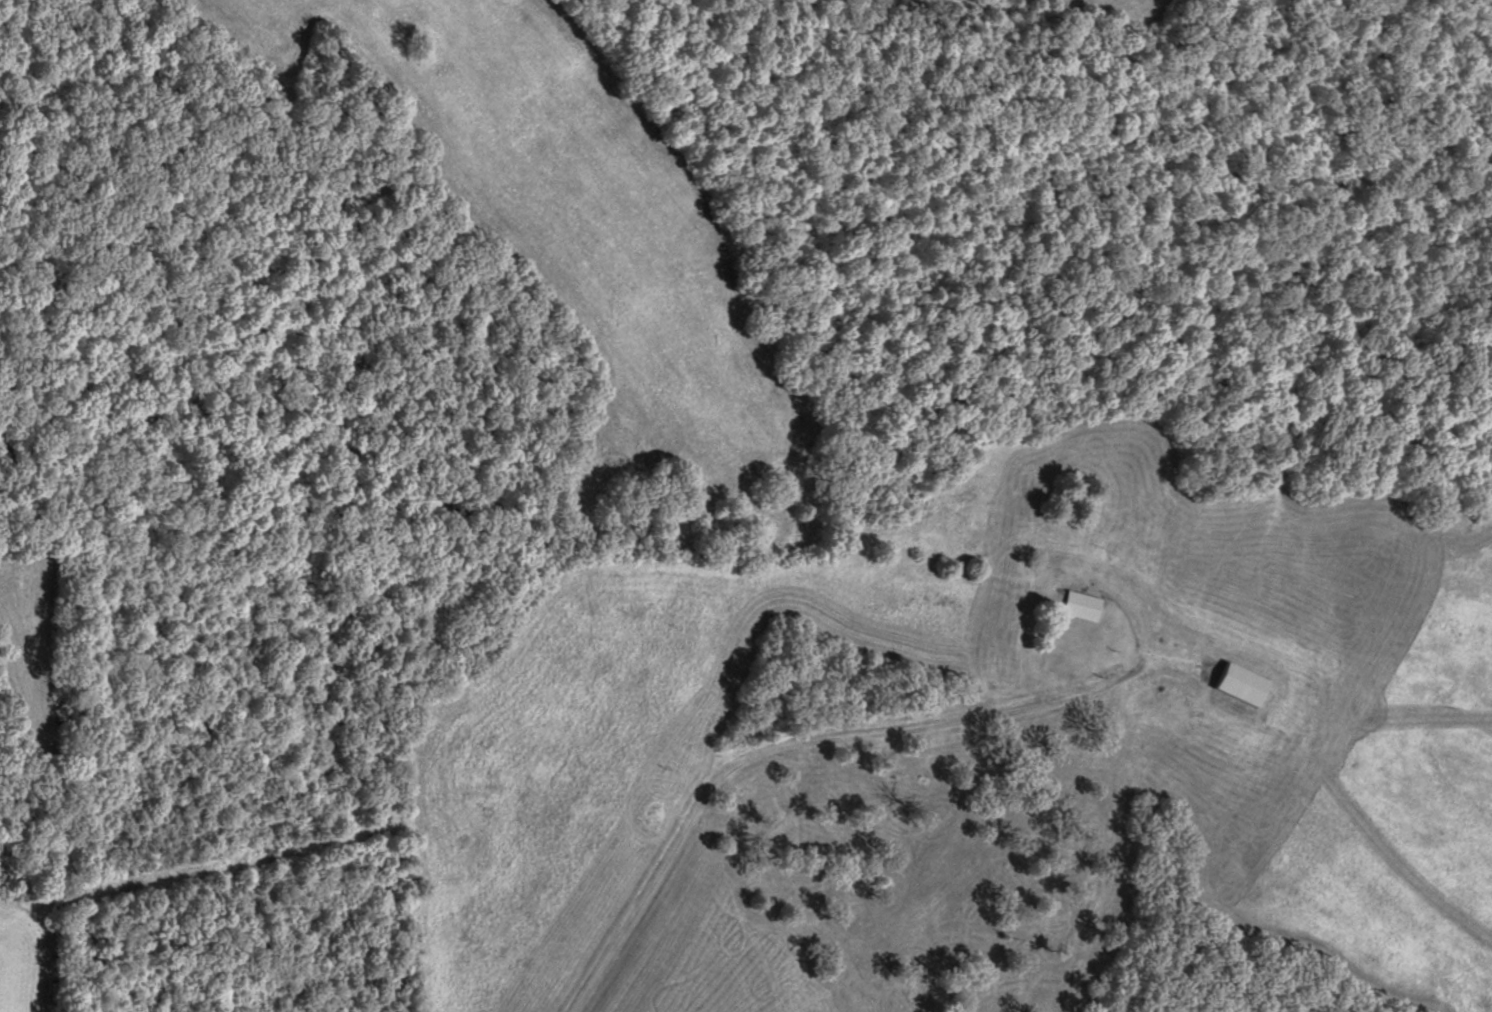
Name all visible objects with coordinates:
building: (1082, 603)
building: (1243, 684)
road: (799, 744)

